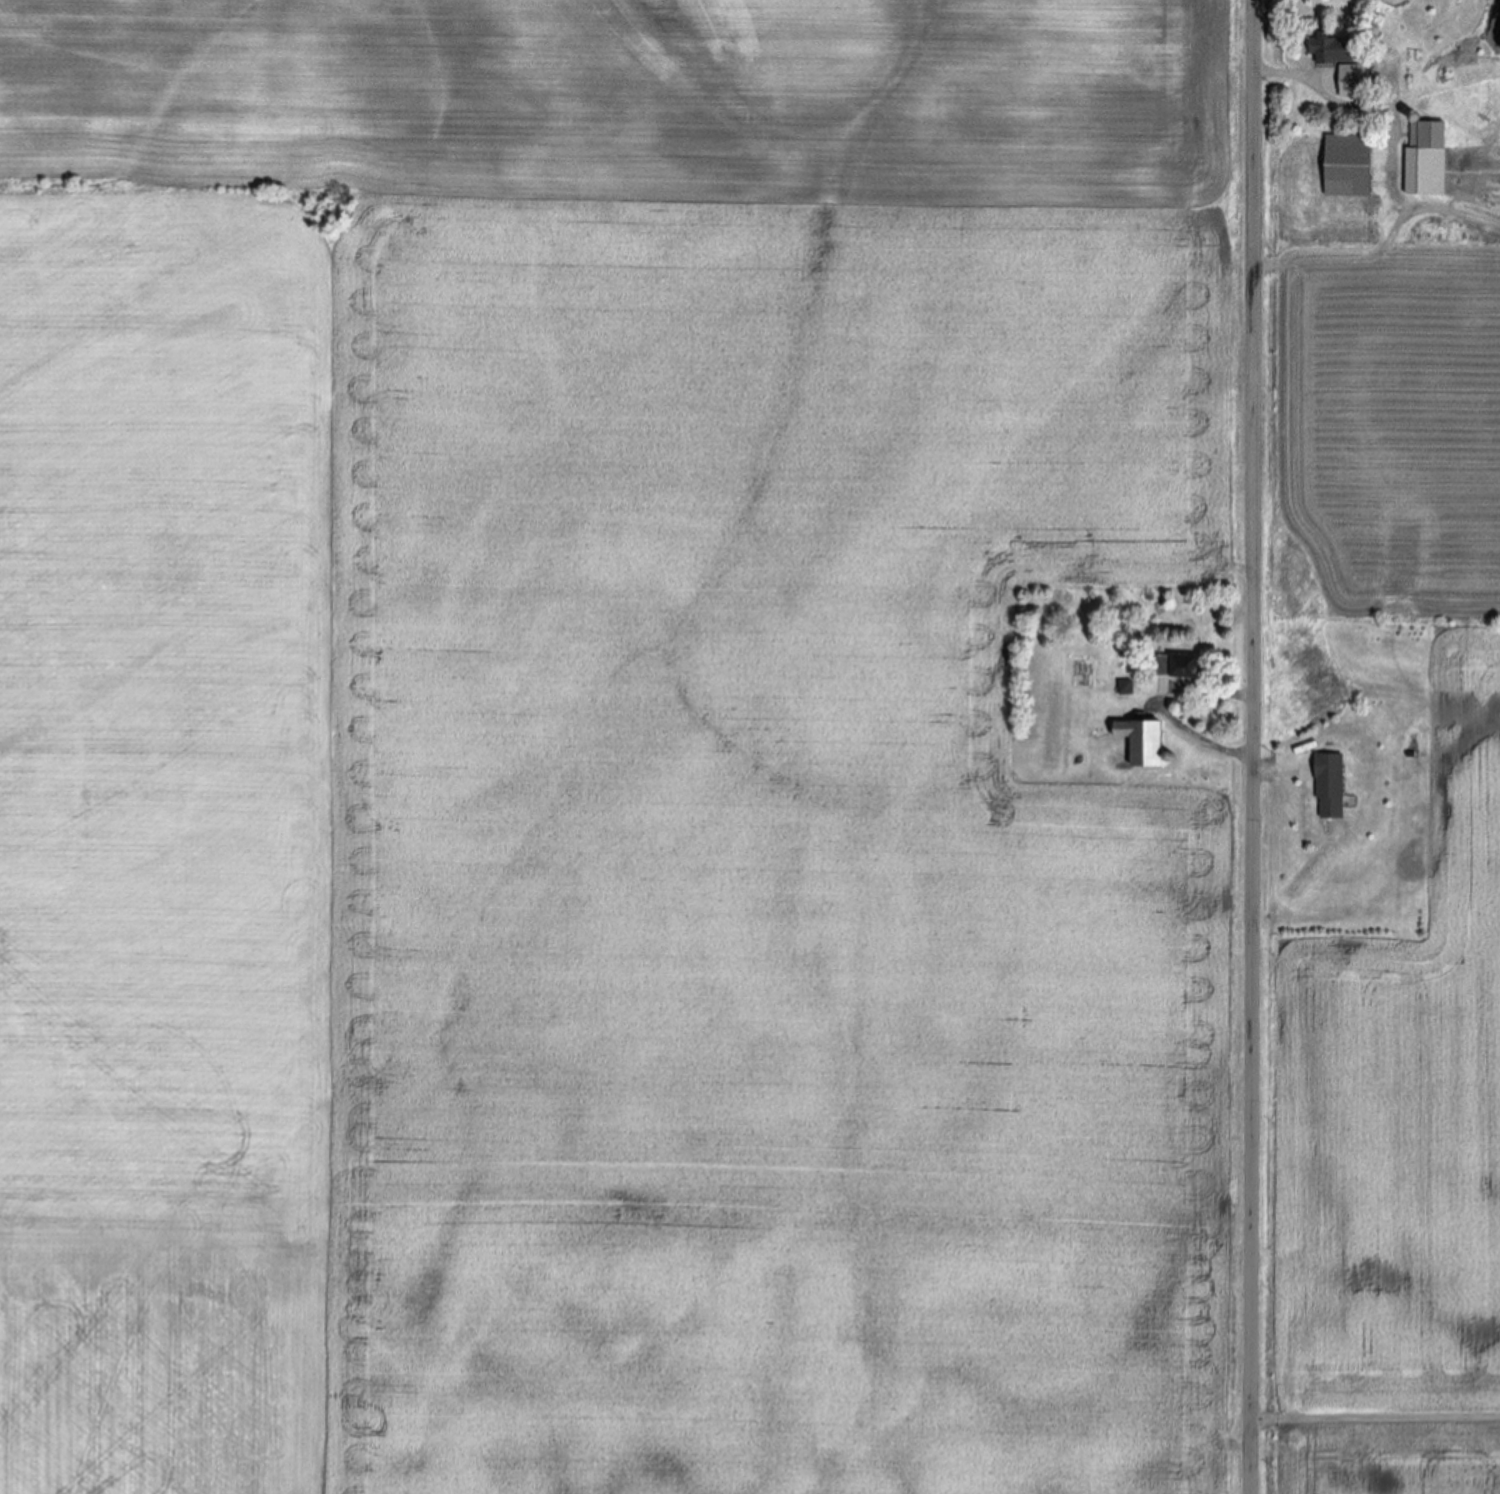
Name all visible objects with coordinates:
building: (1340, 65)
road: (1286, 75)
building: (1425, 160)
building: (1346, 167)
road: (1377, 259)
building: (1176, 666)
building: (1123, 688)
road: (1181, 729)
building: (1139, 741)
road: (1254, 747)
building: (1328, 787)
road: (1375, 1420)

